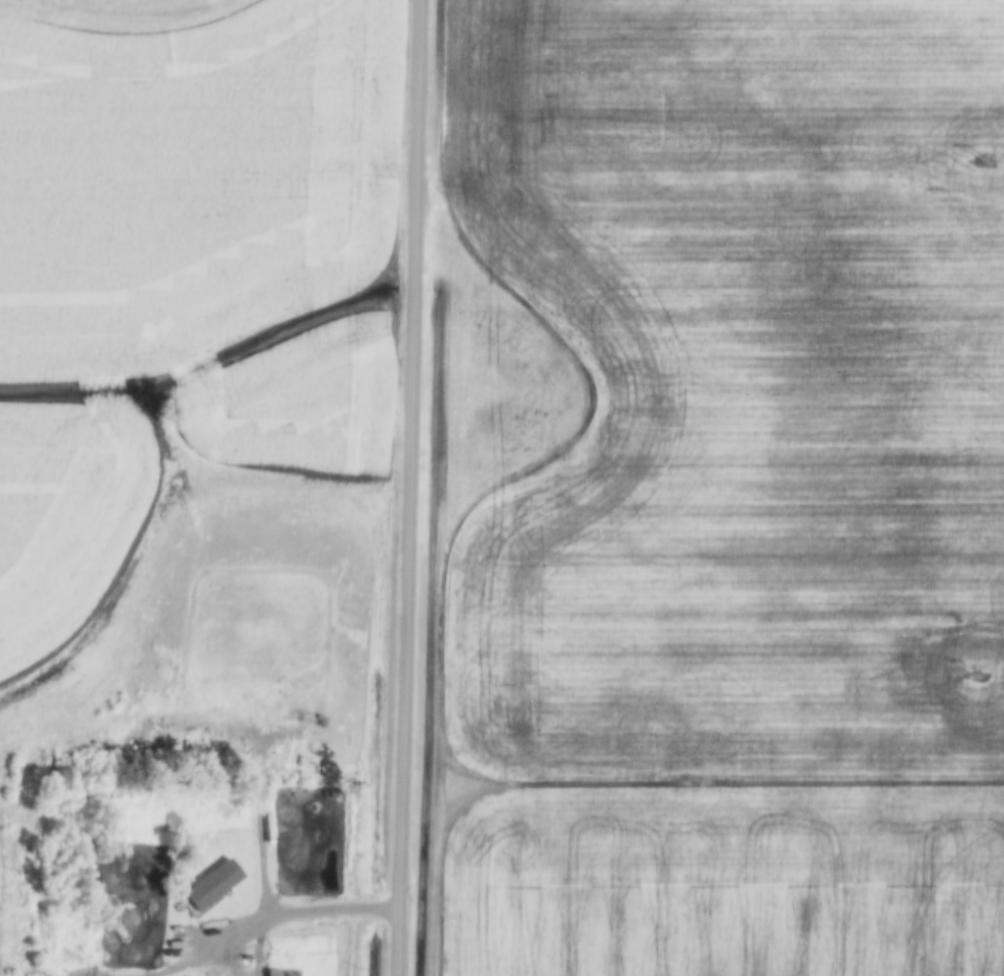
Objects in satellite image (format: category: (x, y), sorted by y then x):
power tower: (983, 159)
crop: (188, 177)
crop: (298, 398)
road: (405, 487)
crop: (736, 493)
crop: (63, 513)
power tower: (977, 676)
building: (209, 885)
road: (266, 920)
building: (275, 972)

